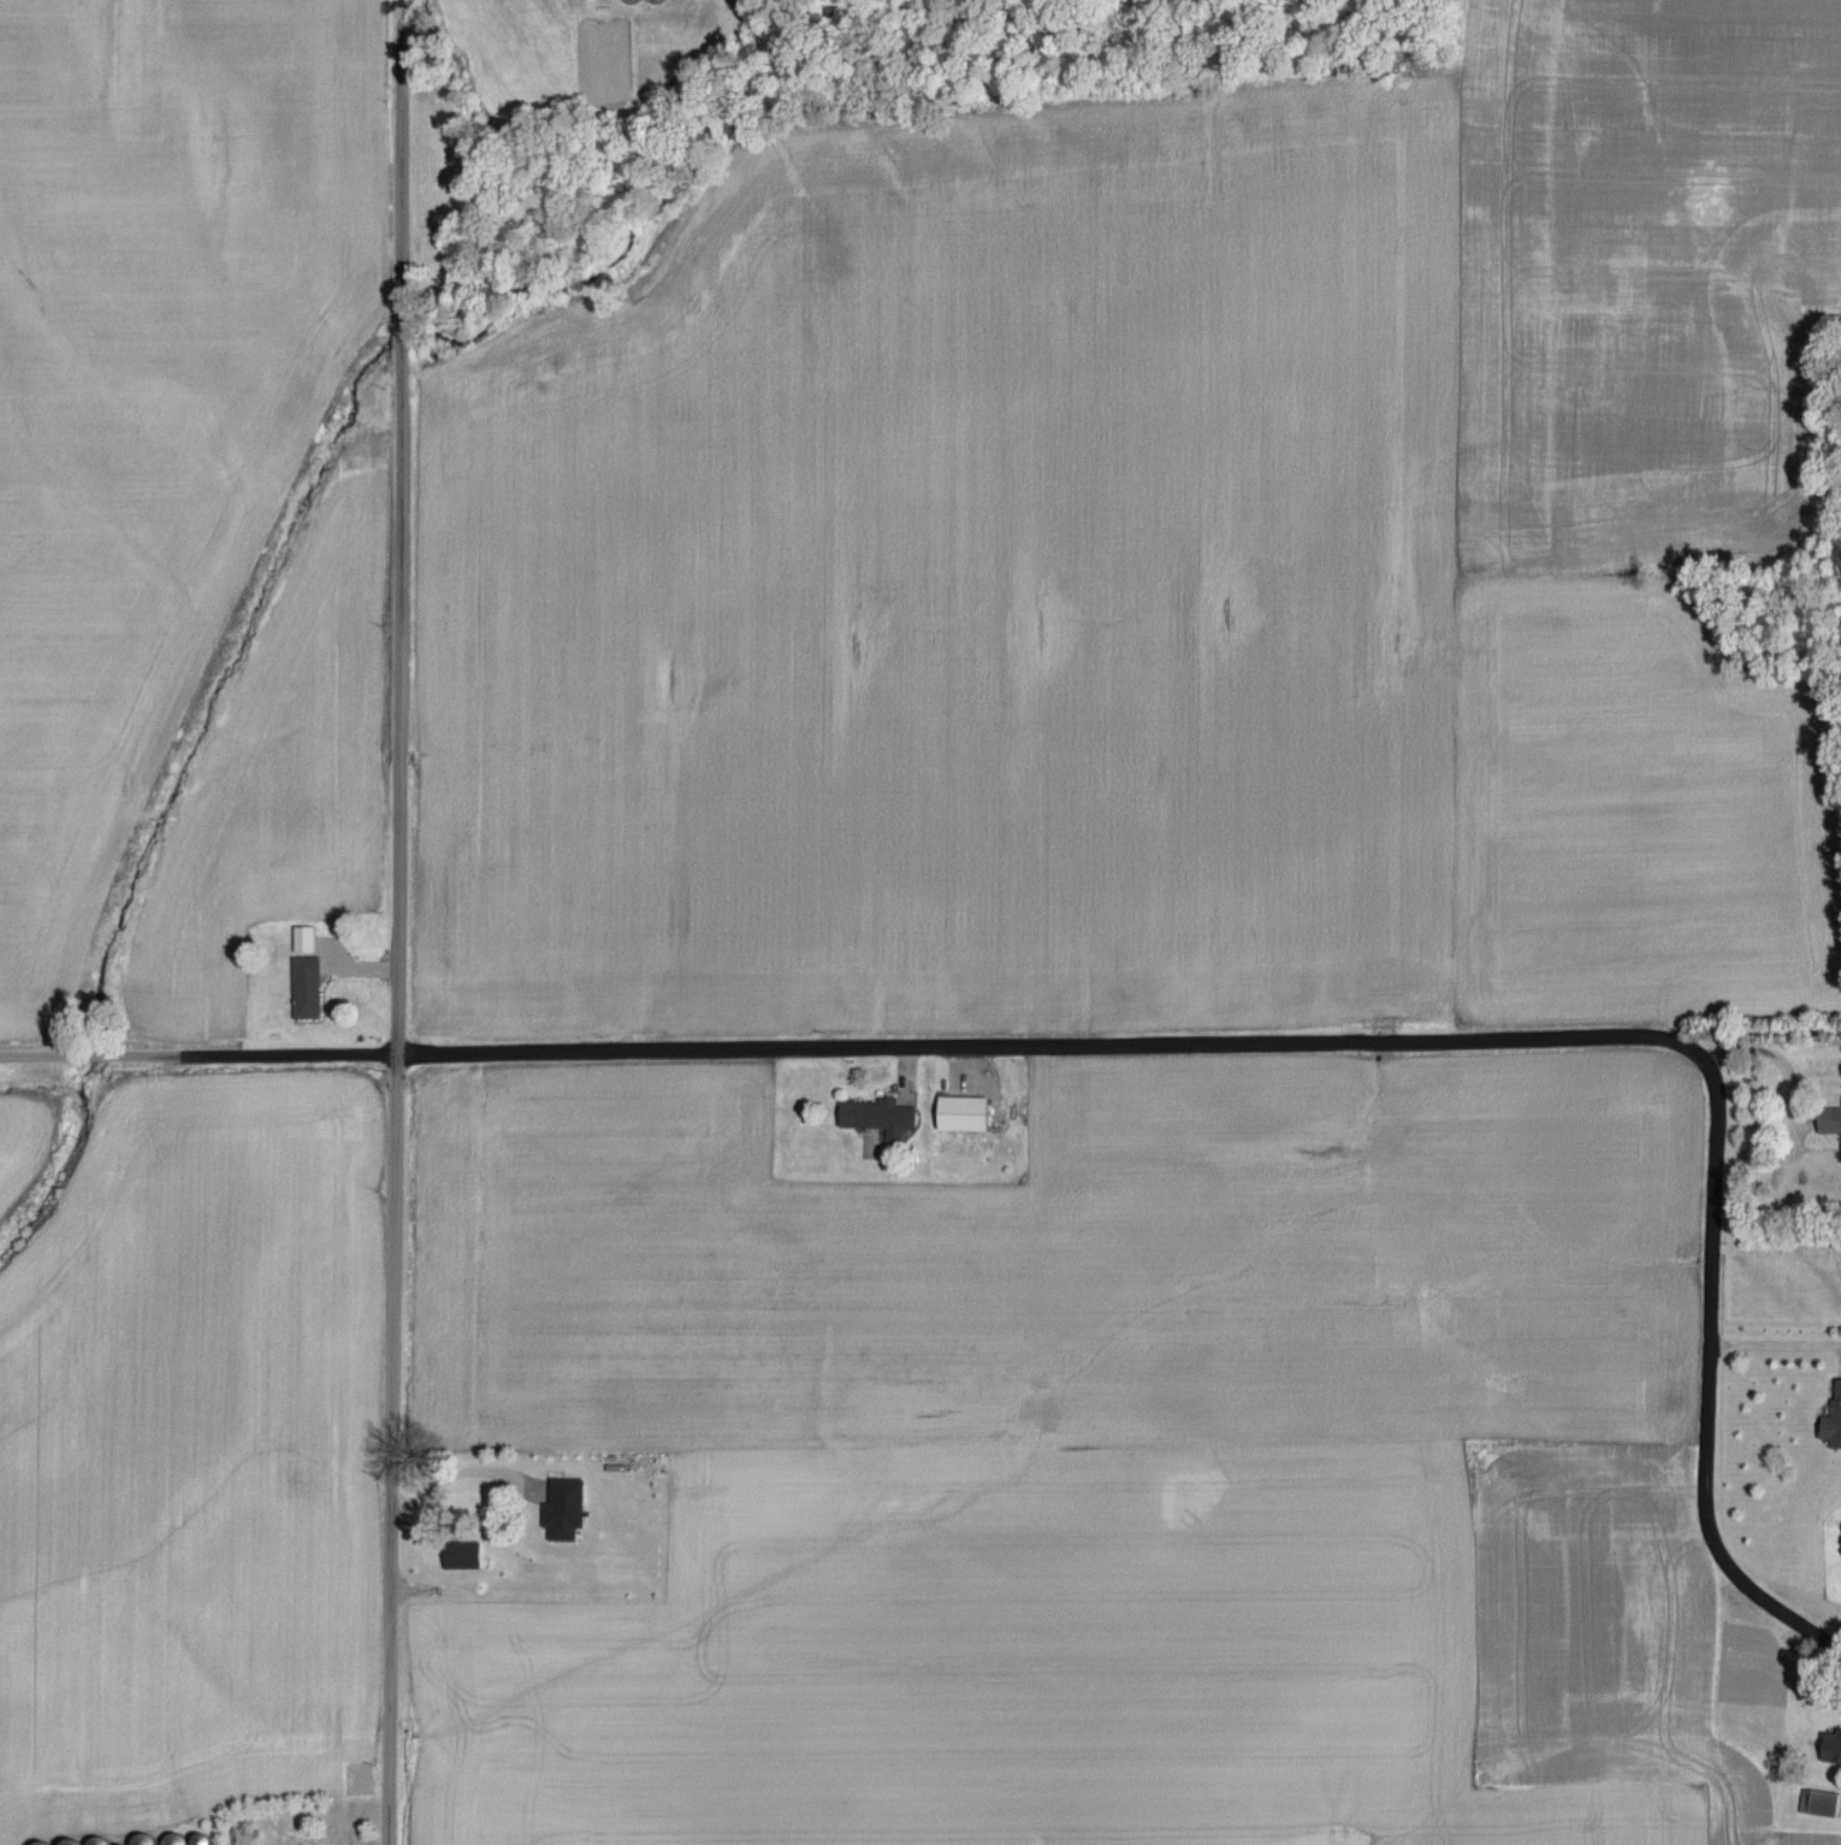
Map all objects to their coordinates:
road: (397, 528)
building: (310, 976)
road: (1079, 1051)
road: (1784, 1071)
building: (959, 1116)
building: (876, 1119)
road: (1772, 1342)
building: (1831, 1415)
road: (385, 1450)
road: (461, 1476)
building: (478, 1490)
building: (467, 1557)
road: (1754, 1598)
building: (1824, 1813)

